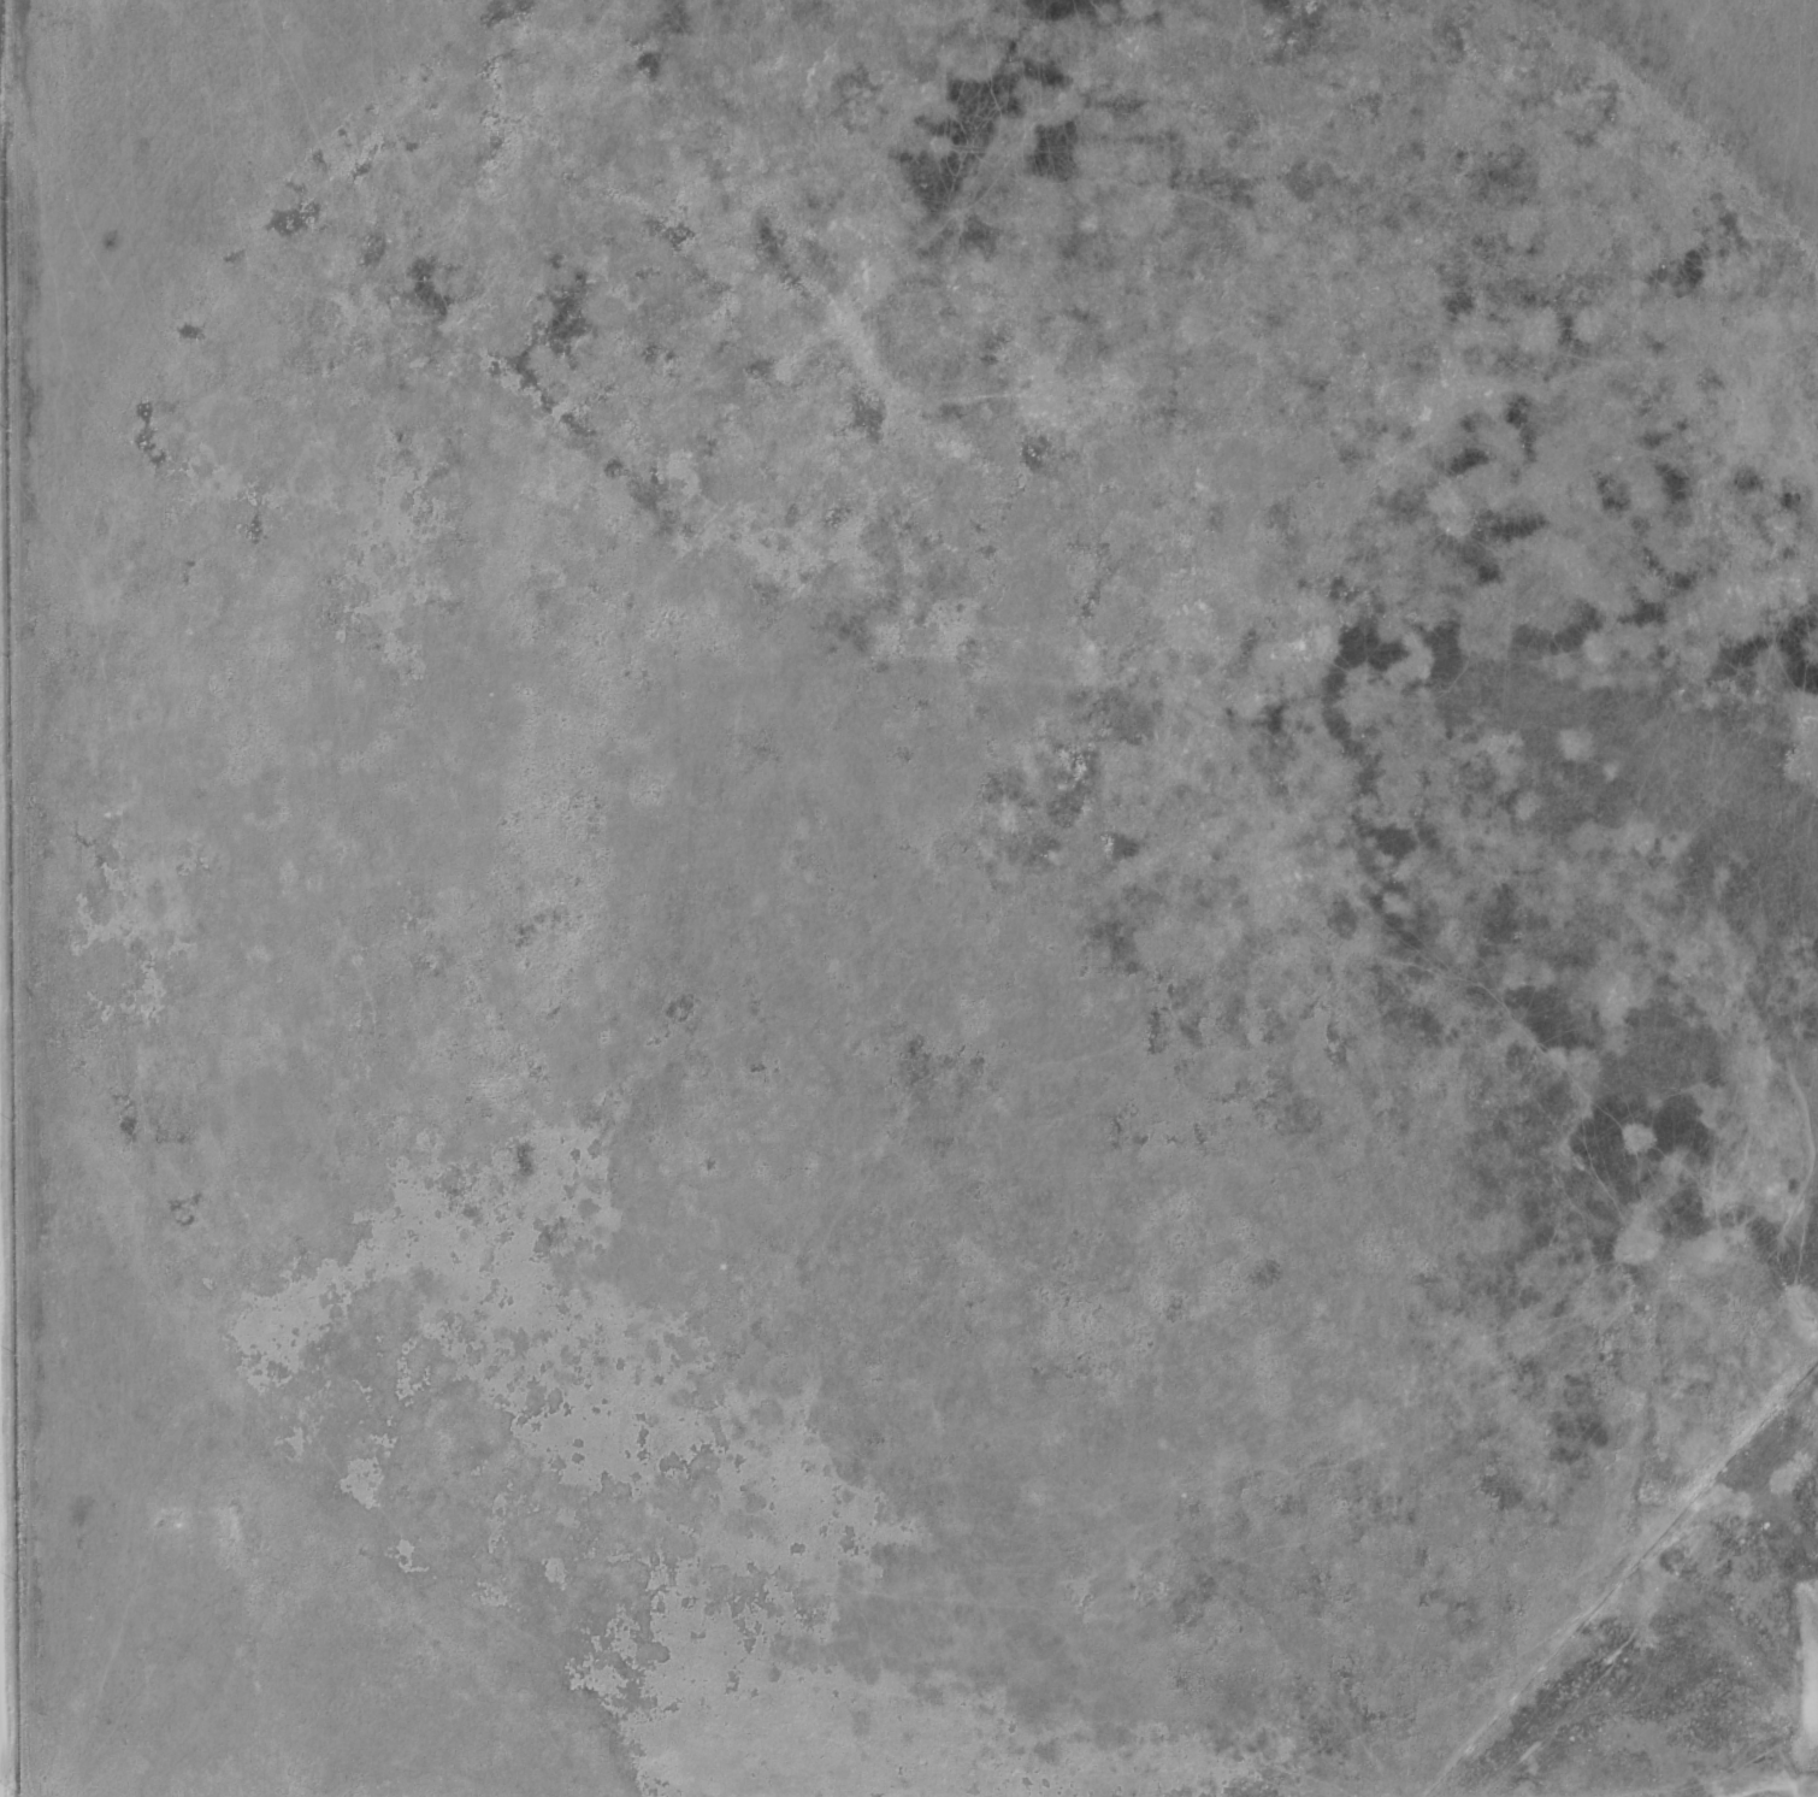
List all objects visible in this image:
road: (0, 1749)

